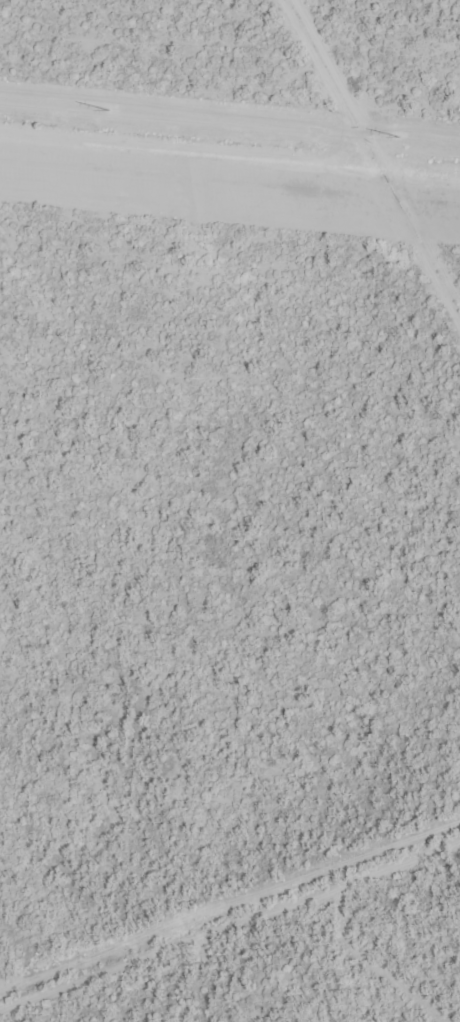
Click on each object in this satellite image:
road: (230, 929)

